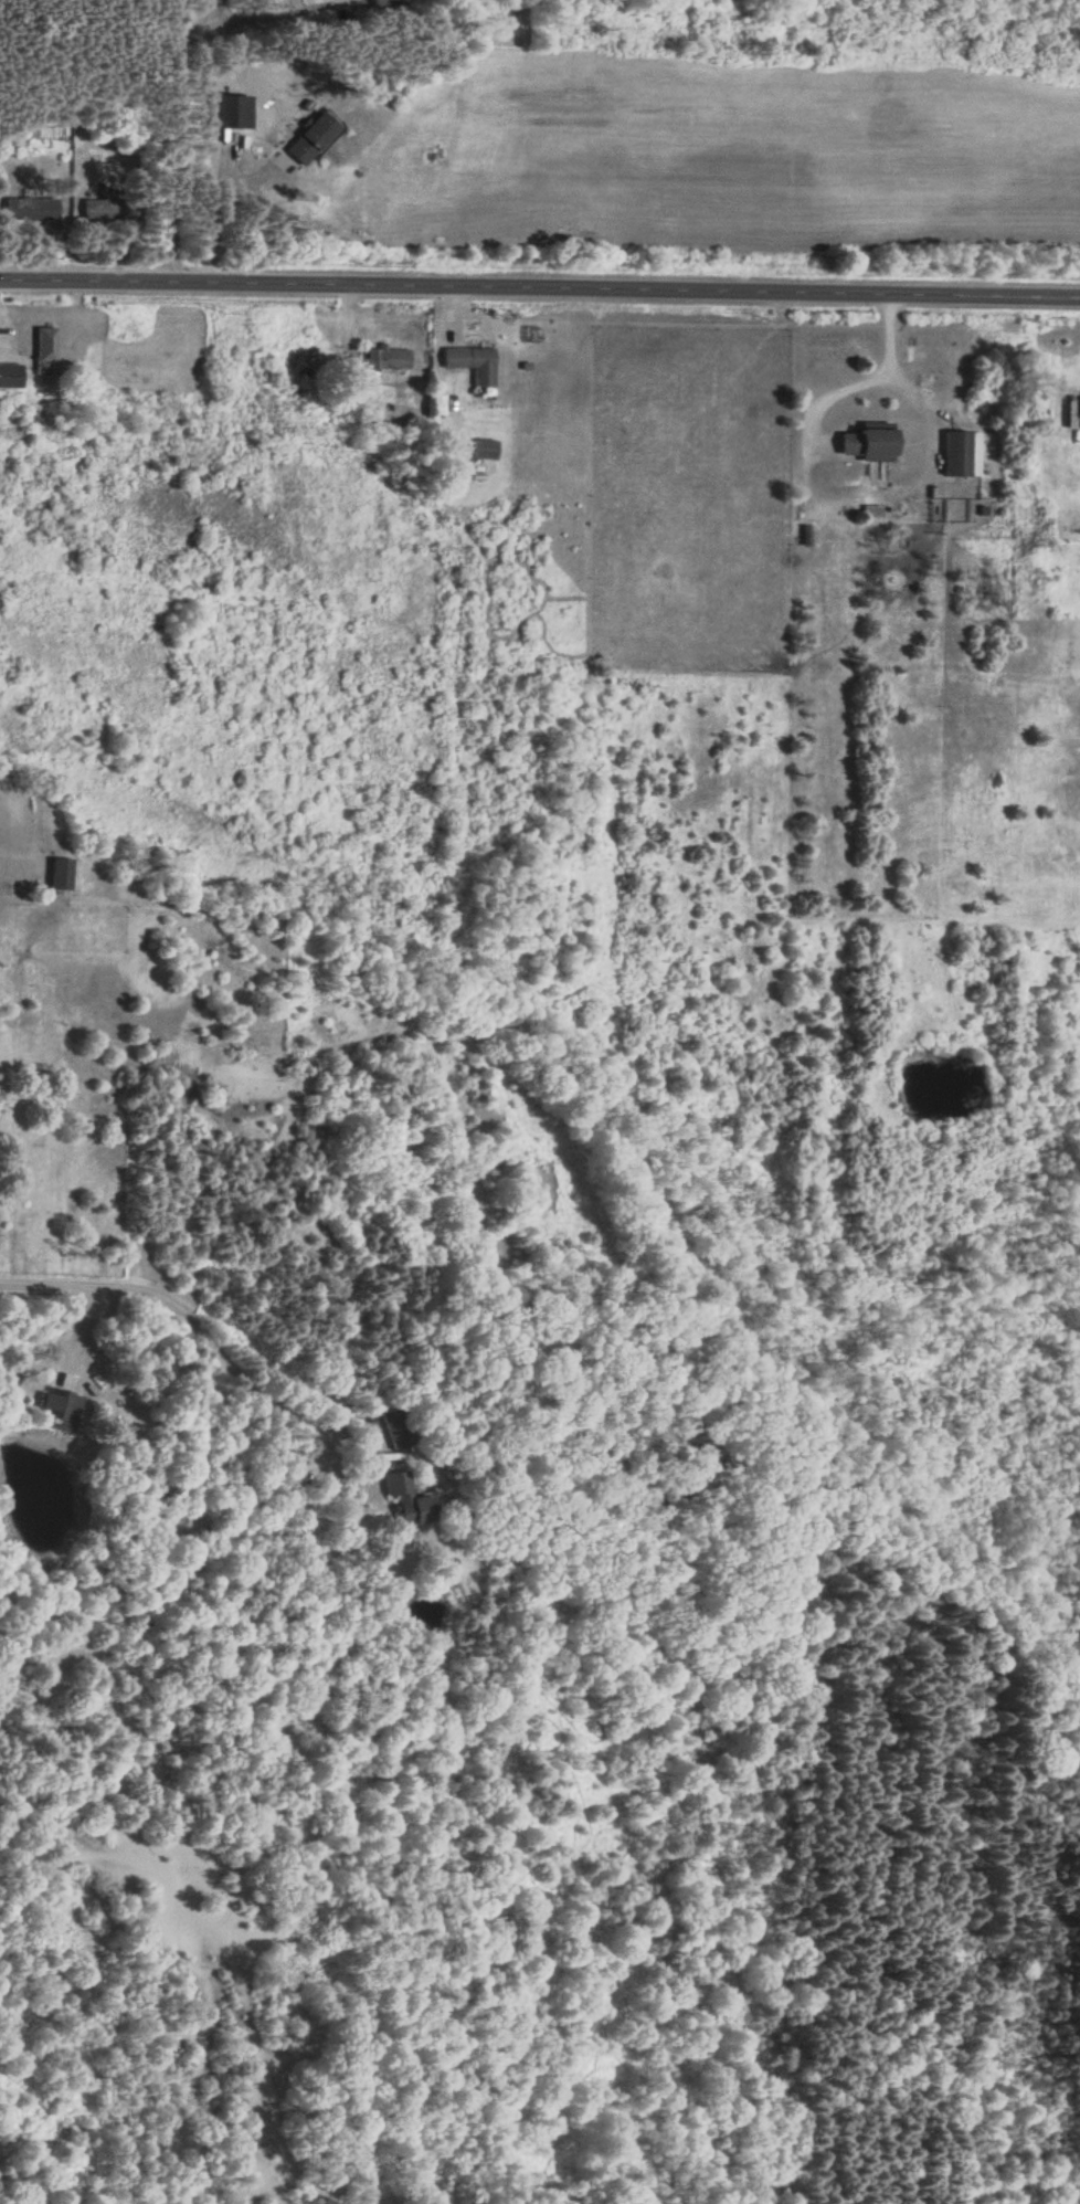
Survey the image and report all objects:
building: (387, 3)
road: (174, 80)
building: (309, 136)
road: (215, 194)
building: (29, 207)
road: (540, 275)
building: (43, 349)
building: (389, 357)
building: (470, 361)
road: (889, 362)
building: (10, 375)
road: (838, 391)
building: (865, 443)
building: (483, 447)
building: (960, 452)
building: (57, 874)
road: (197, 1320)
building: (60, 1410)
building: (398, 1425)
building: (404, 1499)

